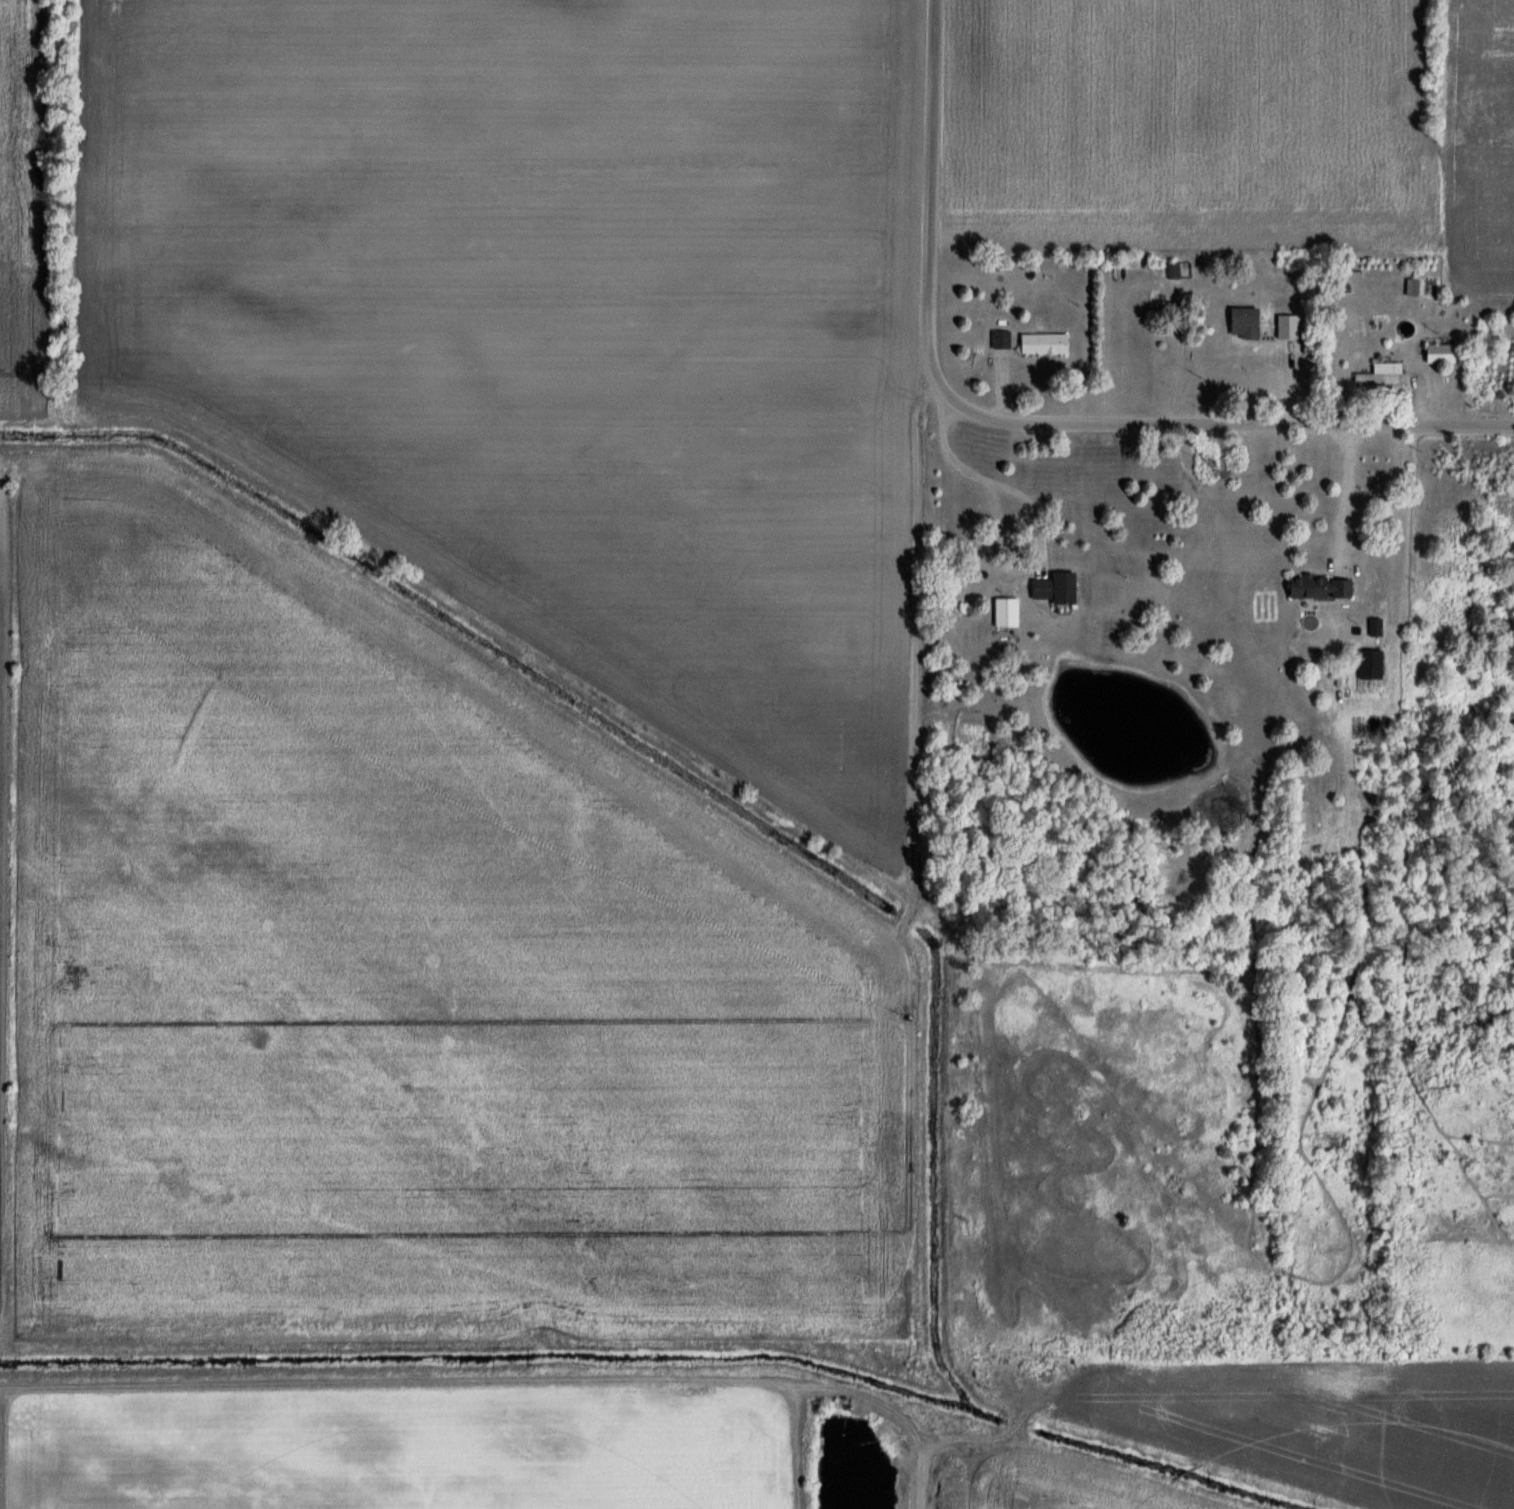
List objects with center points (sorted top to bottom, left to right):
road: (931, 204)
building: (1171, 270)
building: (1411, 287)
building: (1240, 322)
building: (1285, 326)
building: (998, 340)
building: (1040, 344)
building: (1436, 353)
building: (1379, 374)
road: (1230, 424)
road: (993, 483)
road: (1347, 492)
building: (1316, 587)
building: (1049, 588)
building: (1003, 612)
building: (1368, 664)

